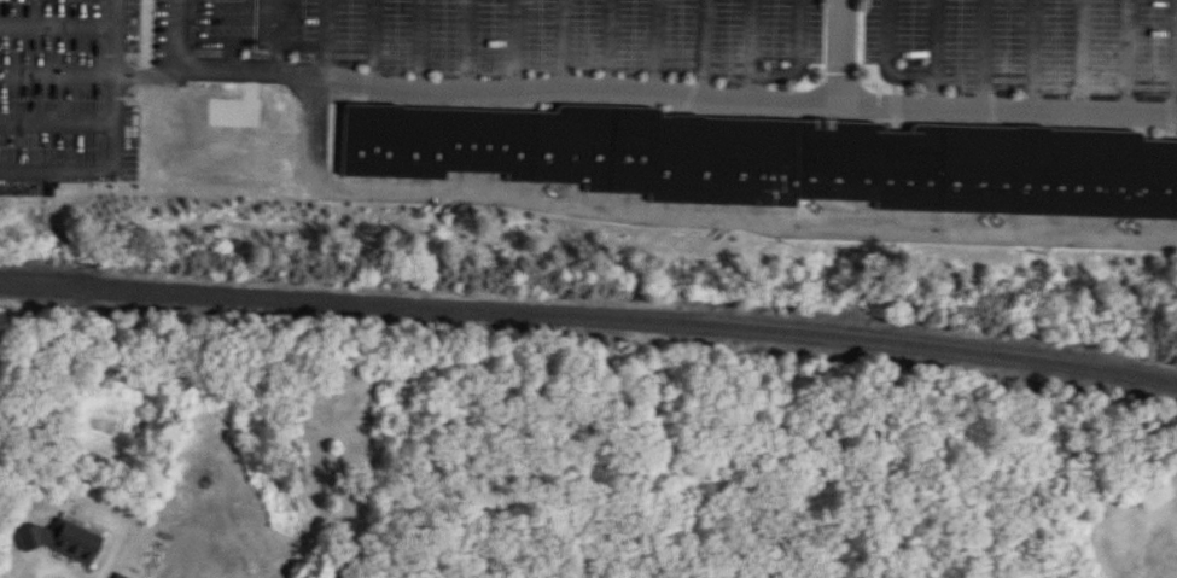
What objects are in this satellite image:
road: (60, 21)
road: (284, 33)
road: (518, 40)
road: (748, 51)
road: (844, 56)
road: (987, 57)
road: (1129, 59)
road: (93, 75)
road: (121, 84)
road: (647, 91)
road: (60, 123)
building: (775, 159)
road: (60, 169)
road: (660, 214)
railway: (589, 303)
park: (1125, 520)
building: (65, 542)
road: (57, 568)

